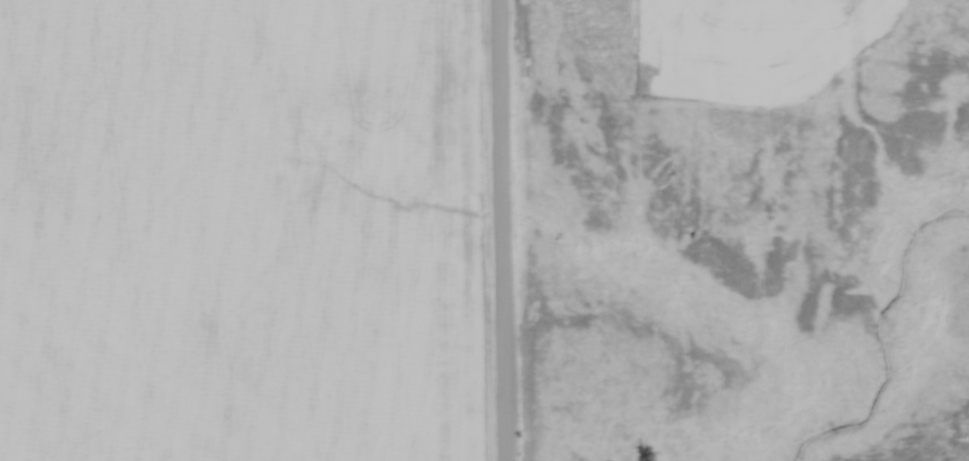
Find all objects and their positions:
road: (498, 230)

